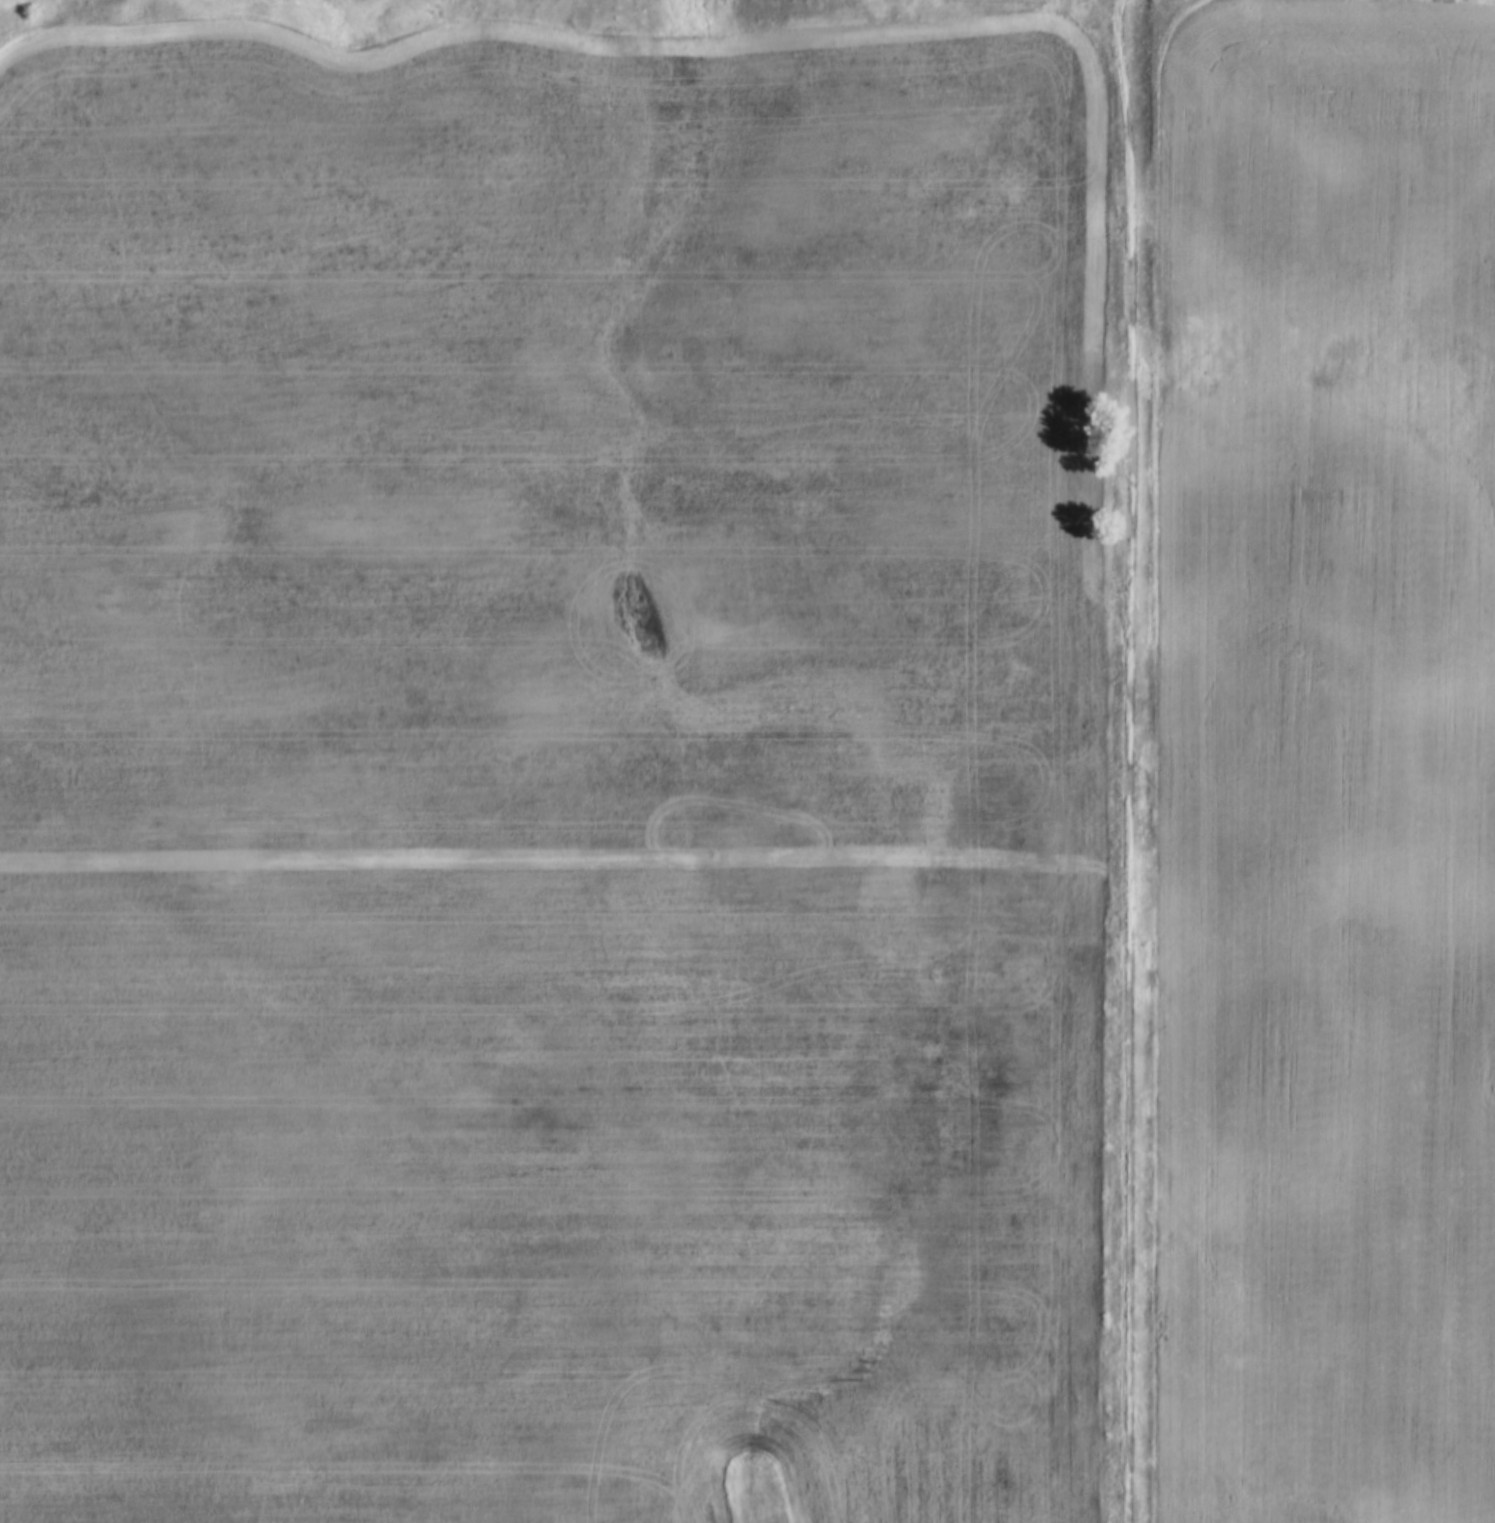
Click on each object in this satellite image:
road: (1112, 3)
road: (1129, 760)

